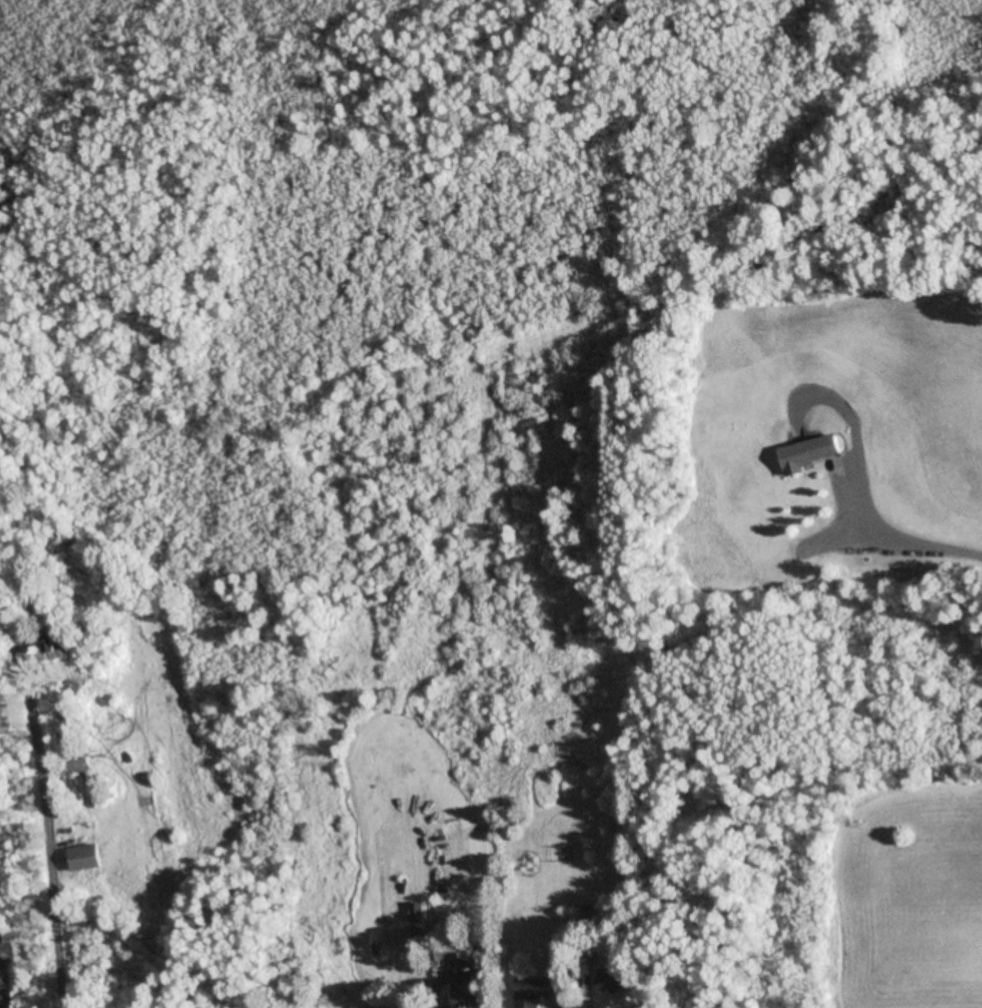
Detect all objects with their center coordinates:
building: (811, 453)
building: (49, 648)
road: (33, 798)
building: (91, 857)
building: (453, 953)
building: (619, 979)
building: (475, 980)
building: (537, 991)

